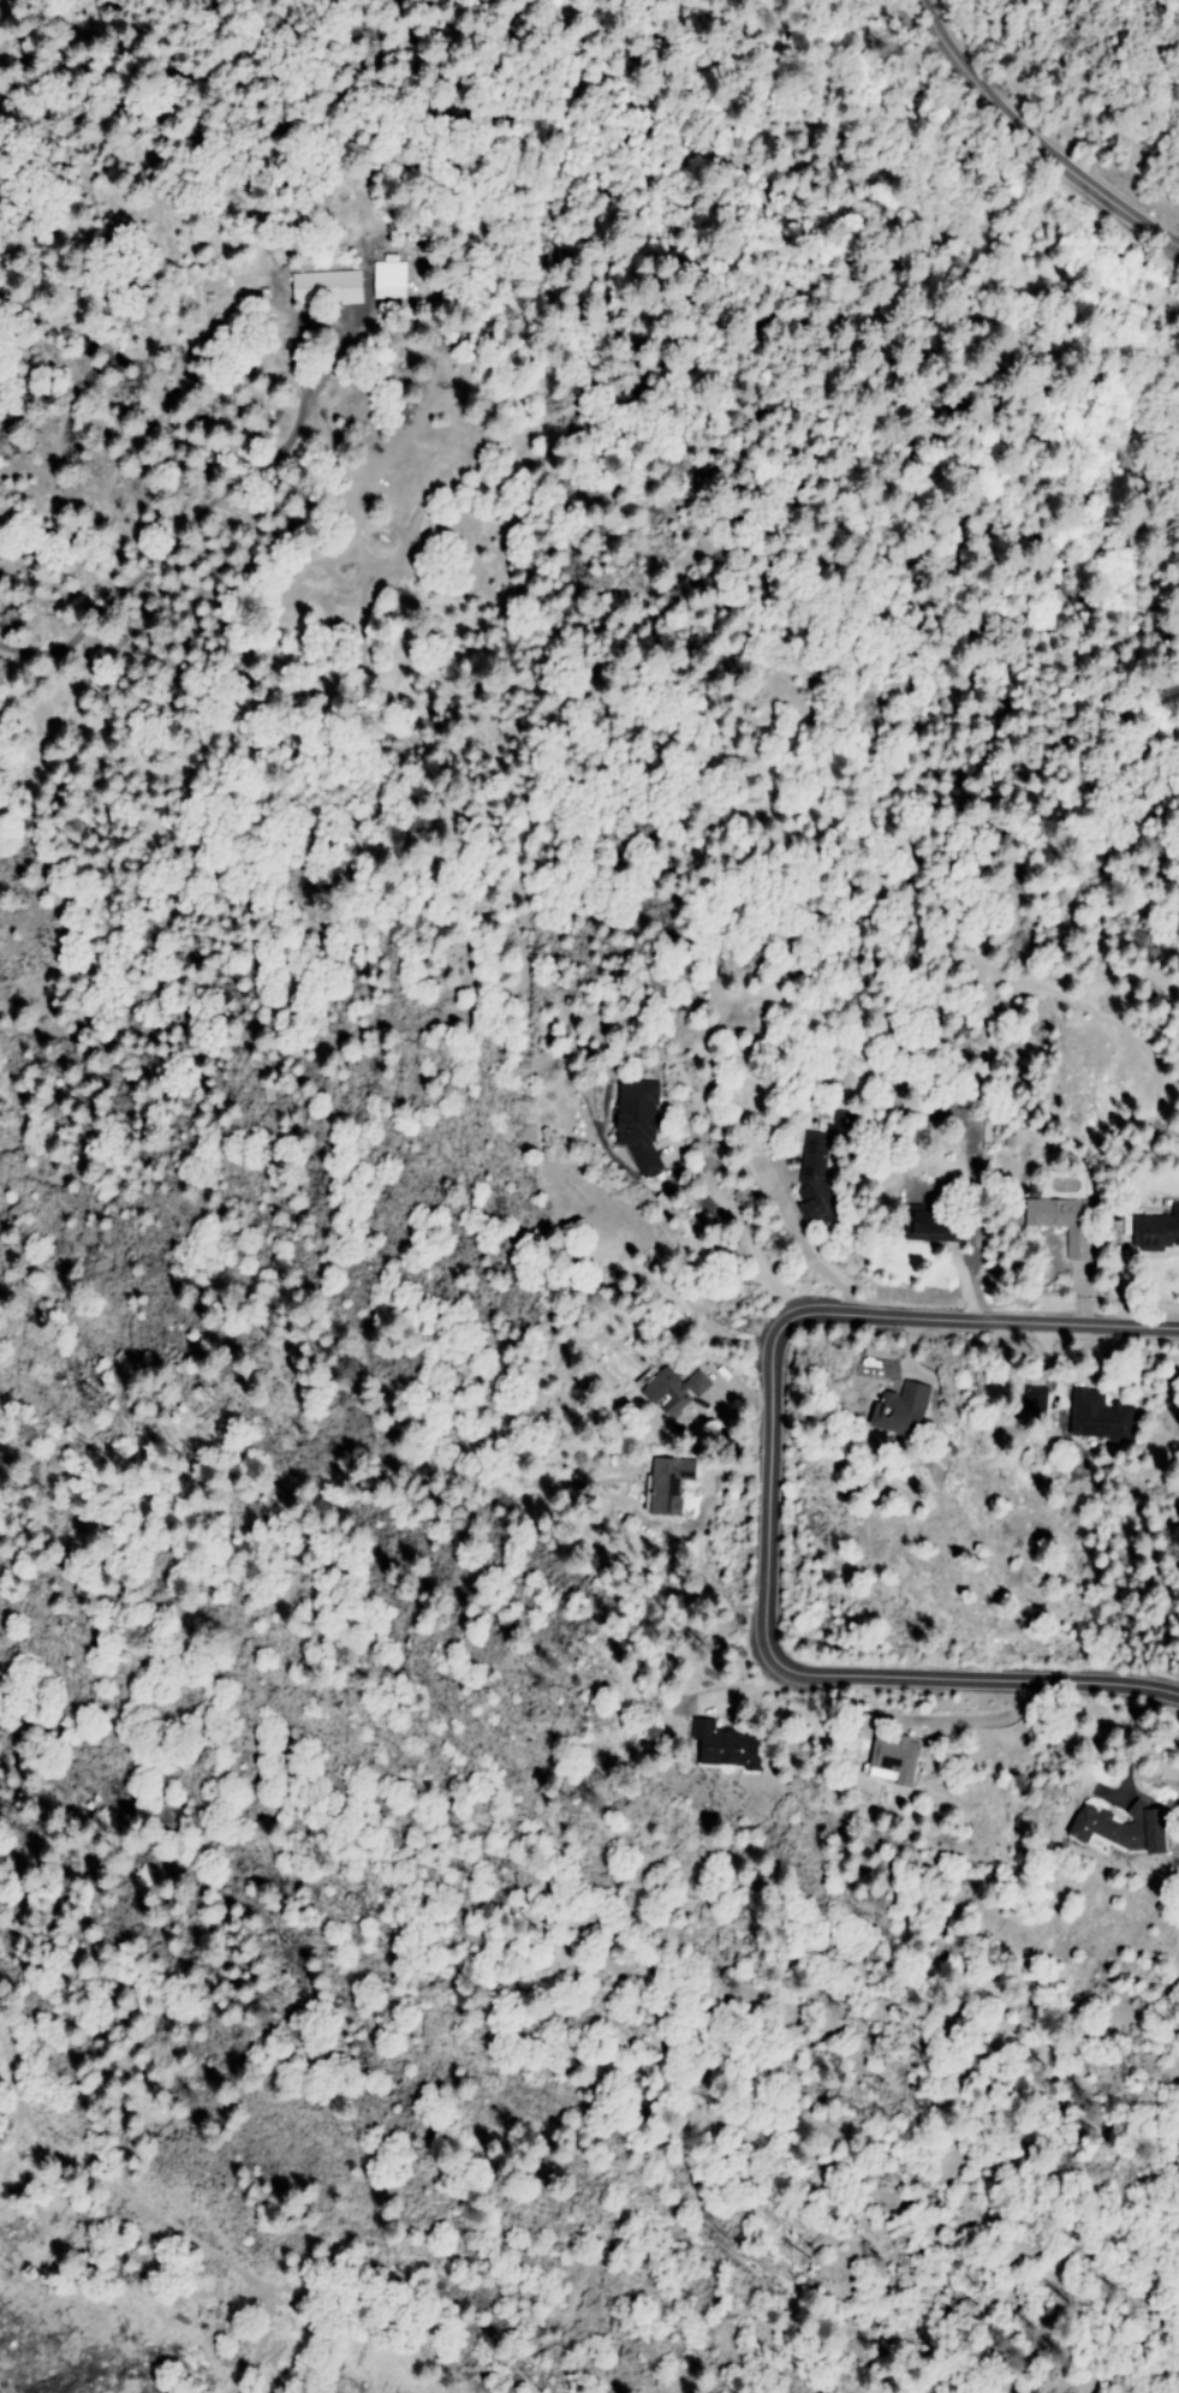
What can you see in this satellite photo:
road: (1031, 143)
building: (382, 280)
building: (321, 286)
building: (636, 1123)
building: (811, 1174)
building: (1060, 1220)
building: (927, 1225)
building: (1155, 1227)
building: (671, 1389)
building: (1034, 1398)
building: (898, 1409)
building: (1096, 1415)
building: (665, 1482)
road: (770, 1499)
building: (721, 1746)
building: (889, 1758)
building: (1119, 1826)
road: (150, 2220)

